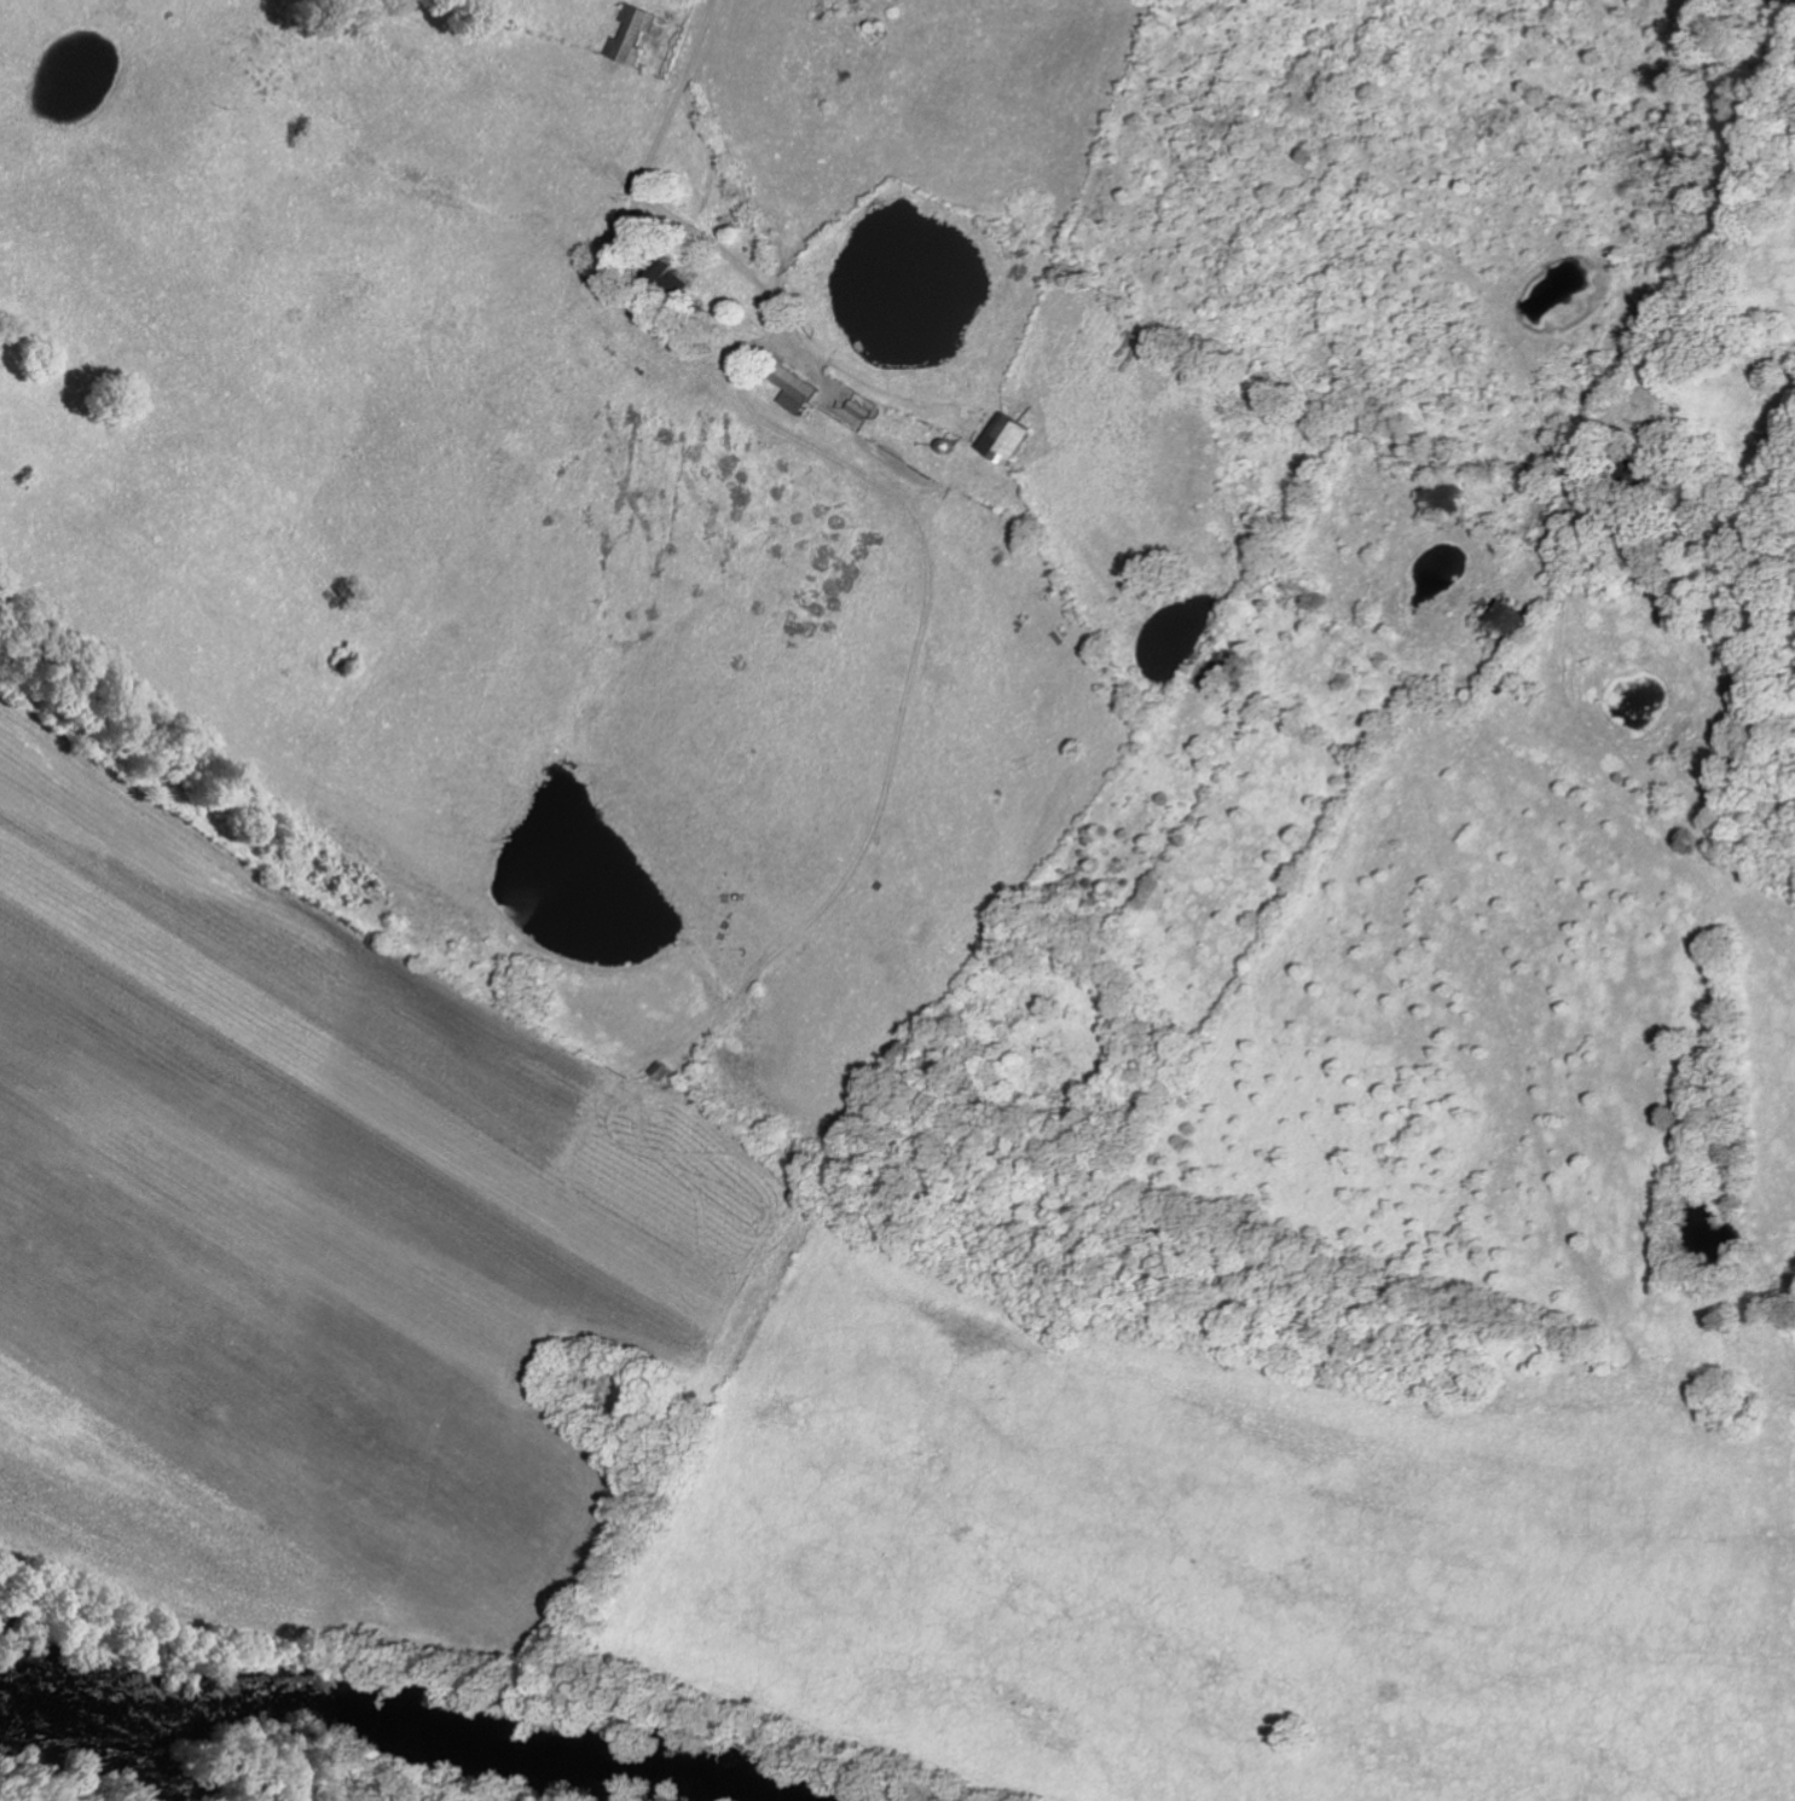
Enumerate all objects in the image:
road: (1791, 1)
building: (630, 34)
road: (742, 261)
road: (1660, 286)
building: (788, 388)
building: (856, 409)
river: (204, 1748)

